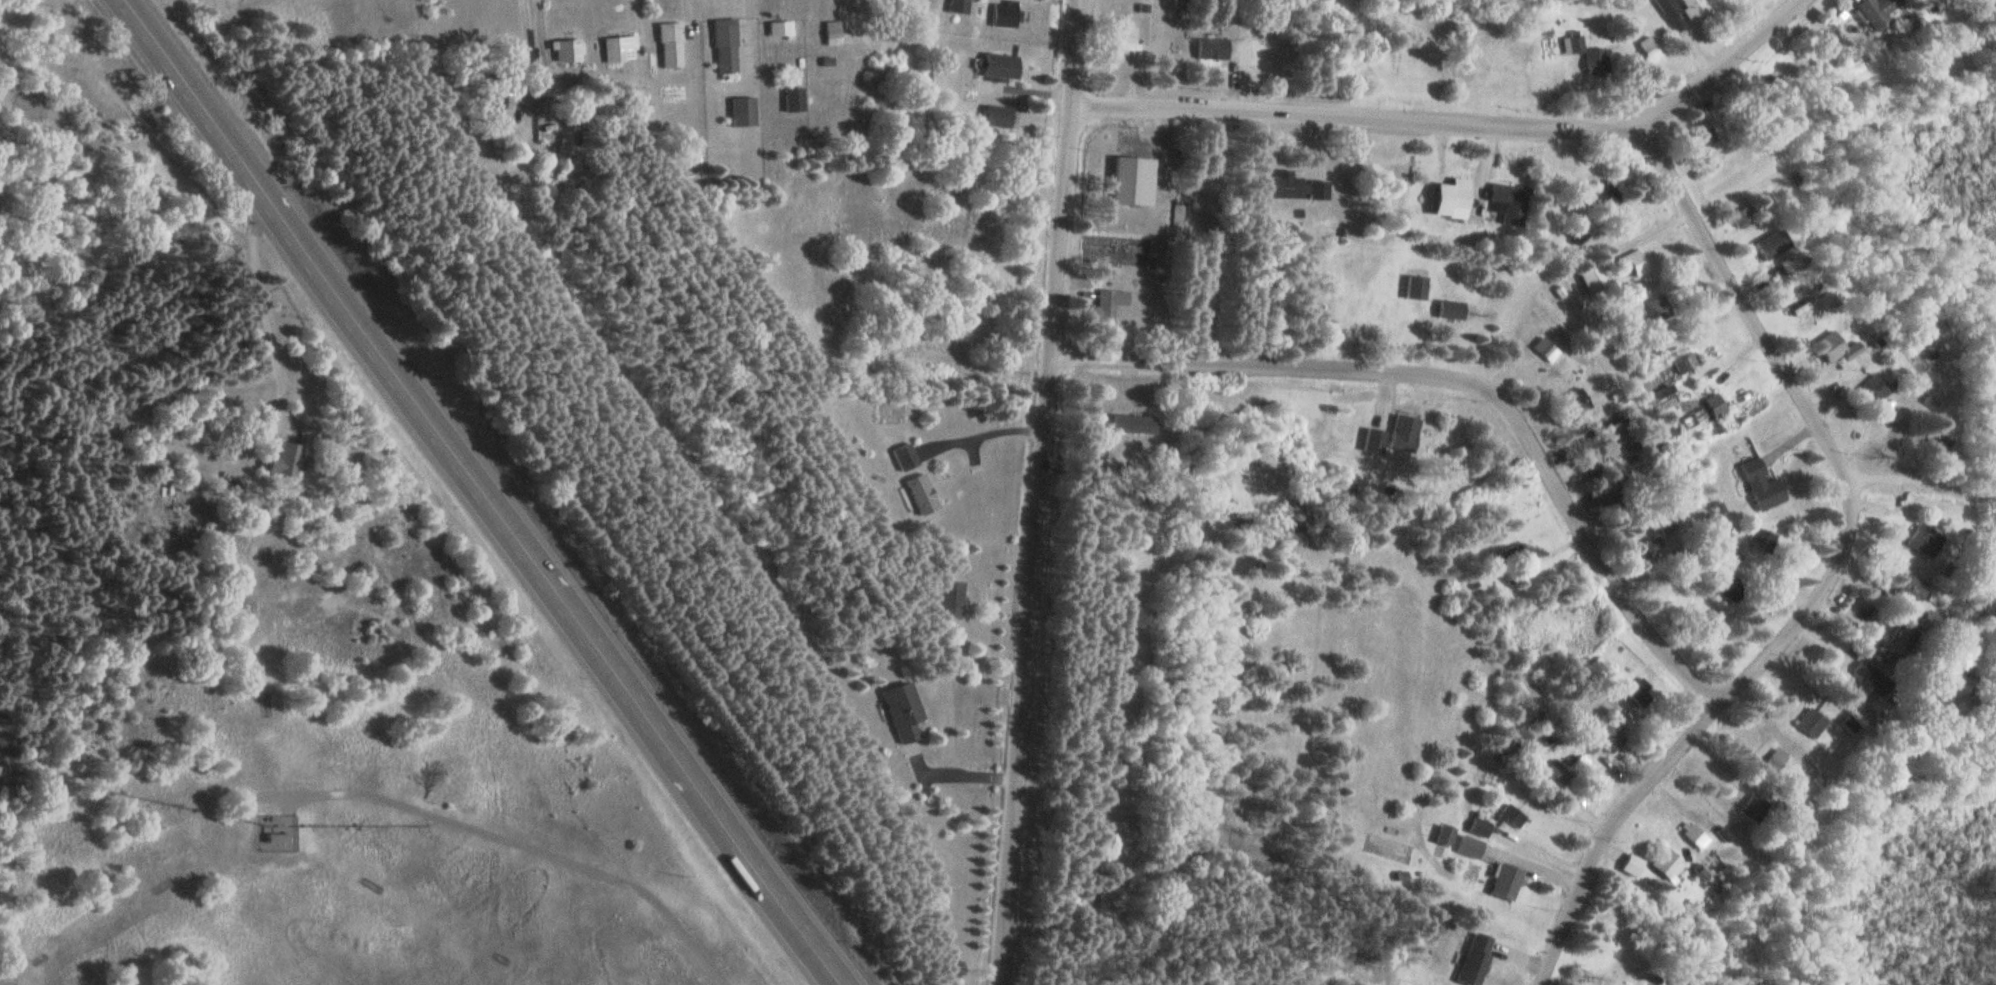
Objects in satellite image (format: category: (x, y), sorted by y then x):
building: (1696, 7)
building: (986, 8)
building: (1879, 12)
building: (1672, 14)
building: (781, 30)
building: (834, 32)
building: (672, 45)
building: (727, 46)
building: (1212, 48)
building: (1650, 48)
building: (620, 49)
building: (568, 51)
building: (1588, 55)
building: (1003, 67)
building: (794, 100)
building: (743, 112)
building: (1001, 116)
road: (1460, 122)
building: (1296, 187)
building: (1607, 196)
building: (1455, 202)
building: (1507, 205)
building: (1745, 217)
building: (1774, 245)
building: (1637, 261)
building: (1786, 269)
building: (1596, 280)
building: (1416, 288)
building: (1795, 300)
building: (1108, 307)
building: (1451, 309)
building: (1659, 309)
building: (1545, 348)
building: (1839, 348)
building: (1686, 363)
road: (1469, 378)
building: (1881, 392)
building: (1580, 400)
building: (1716, 405)
building: (1136, 424)
building: (1404, 434)
building: (1374, 440)
building: (906, 457)
building: (288, 463)
building: (1754, 485)
road: (486, 492)
road: (1043, 492)
building: (923, 494)
road: (1920, 494)
building: (1757, 538)
building: (1915, 538)
building: (1727, 557)
road: (1834, 575)
building: (1903, 588)
building: (953, 598)
building: (1922, 622)
building: (1708, 626)
building: (1638, 689)
building: (1859, 689)
building: (904, 712)
building: (1807, 722)
building: (1609, 741)
building: (1755, 807)
building: (1479, 827)
building: (1700, 837)
road: (515, 845)
building: (1670, 862)
building: (1710, 863)
building: (1633, 864)
building: (1701, 873)
building: (1508, 882)
building: (1476, 959)

